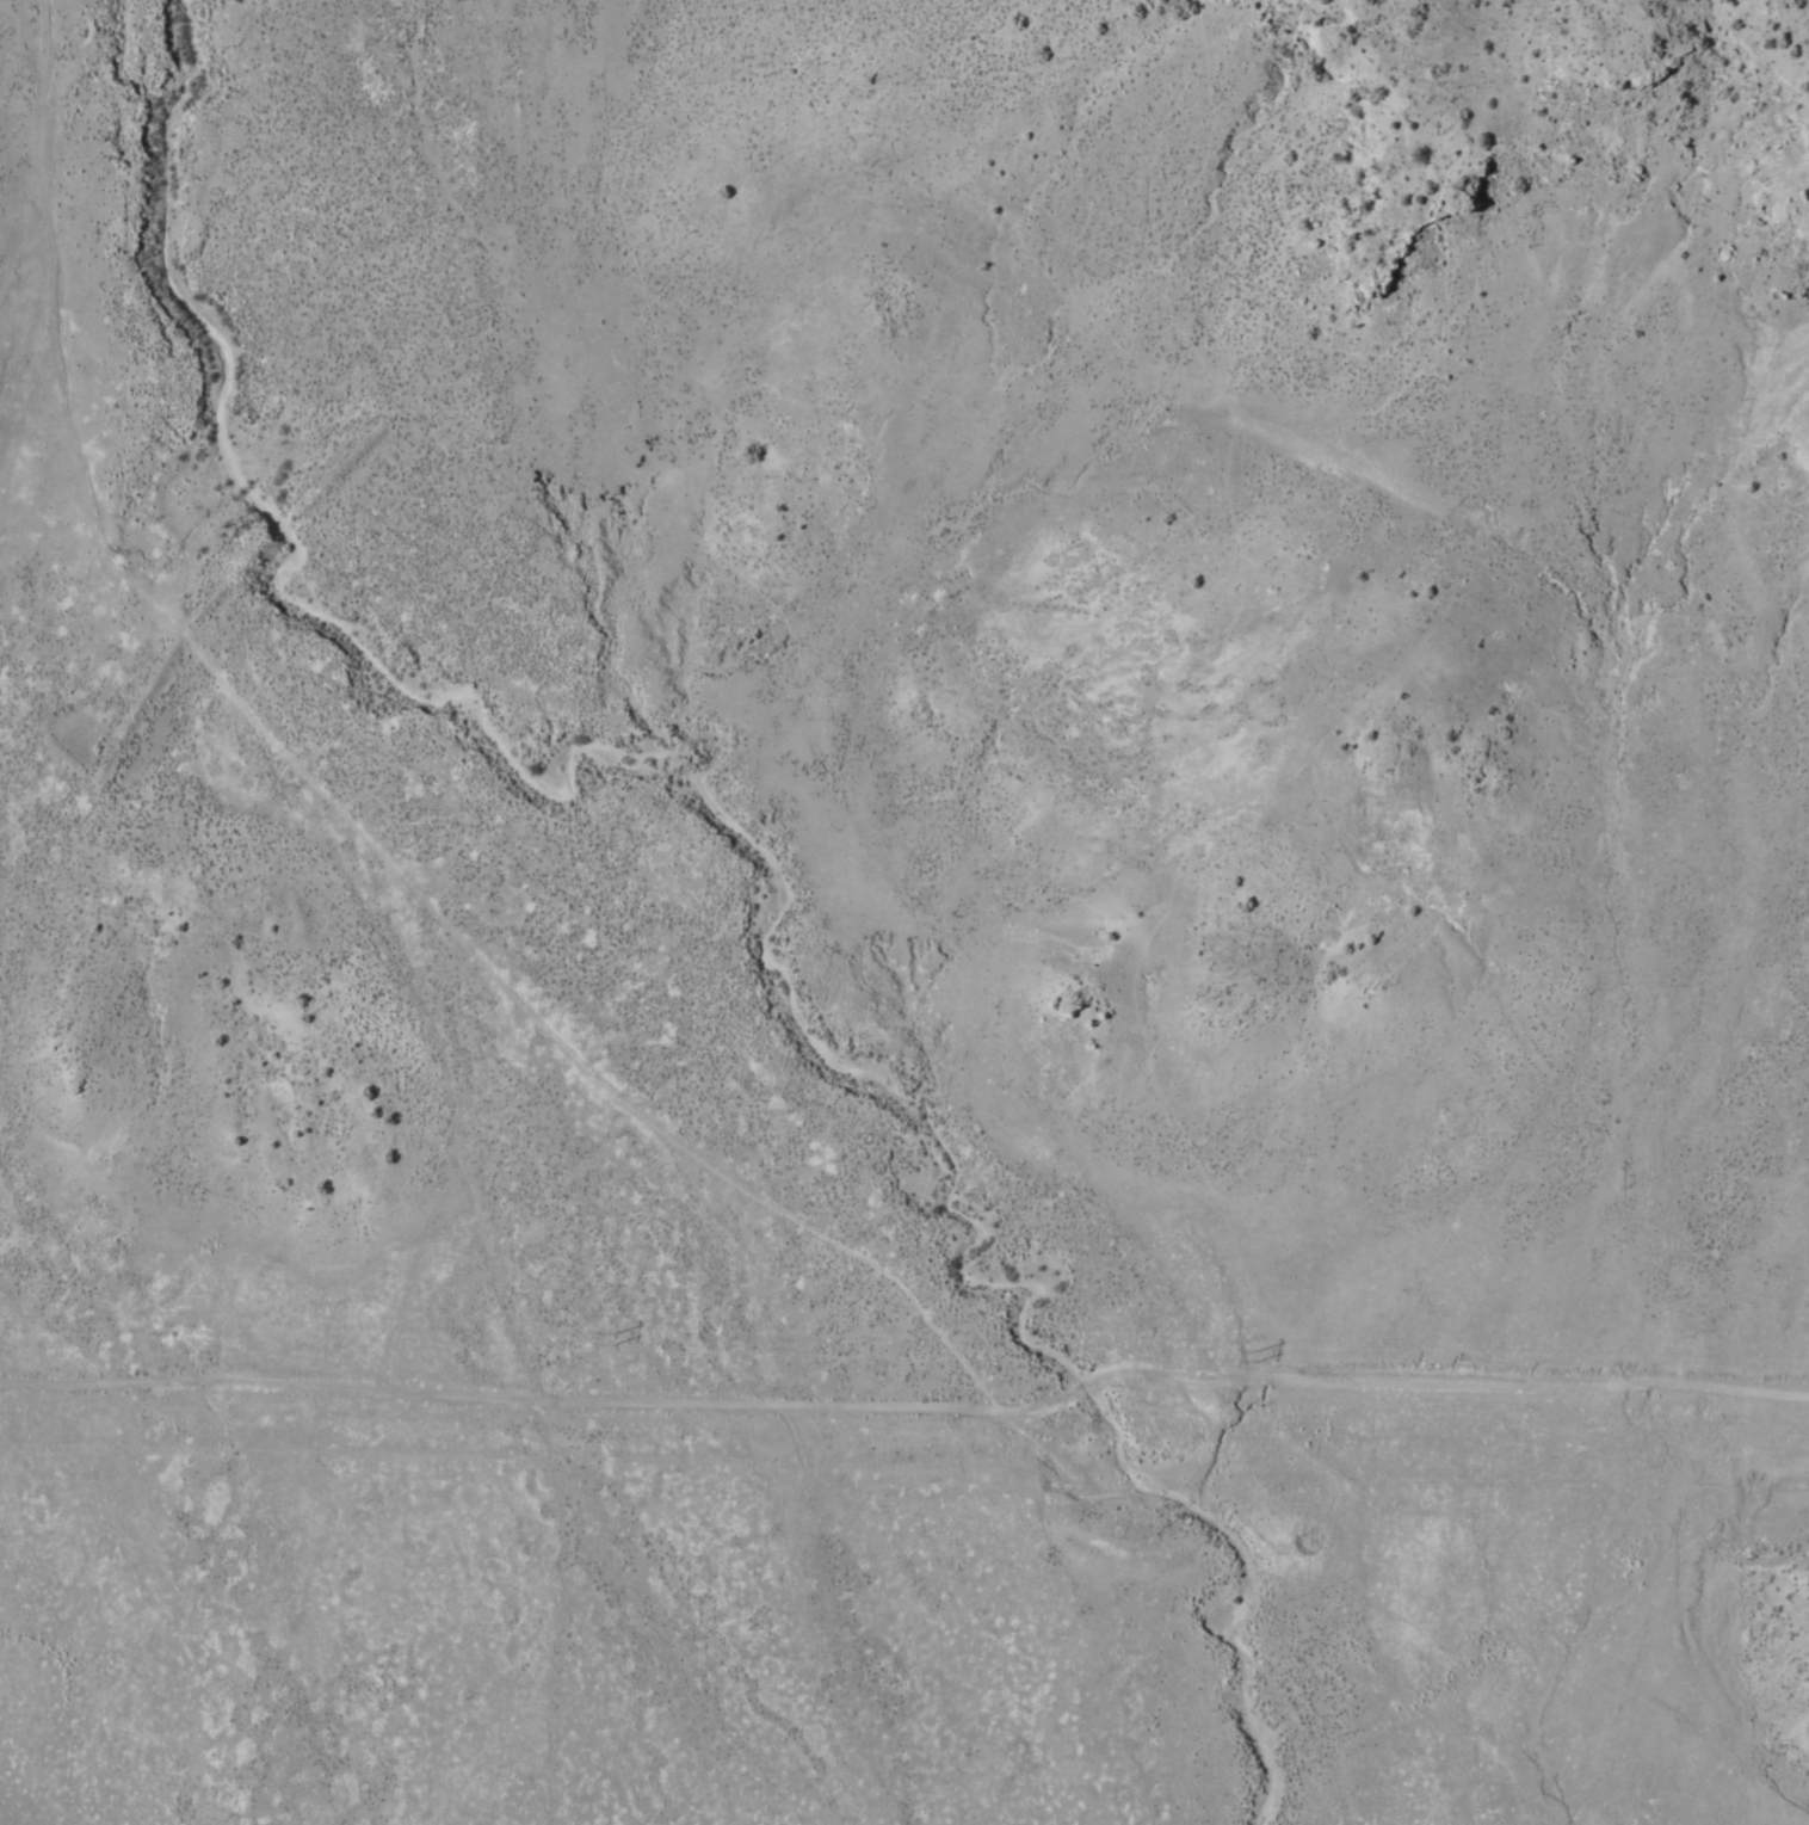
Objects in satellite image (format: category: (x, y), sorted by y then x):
power tower: (612, 1342)
power tower: (1243, 1357)

